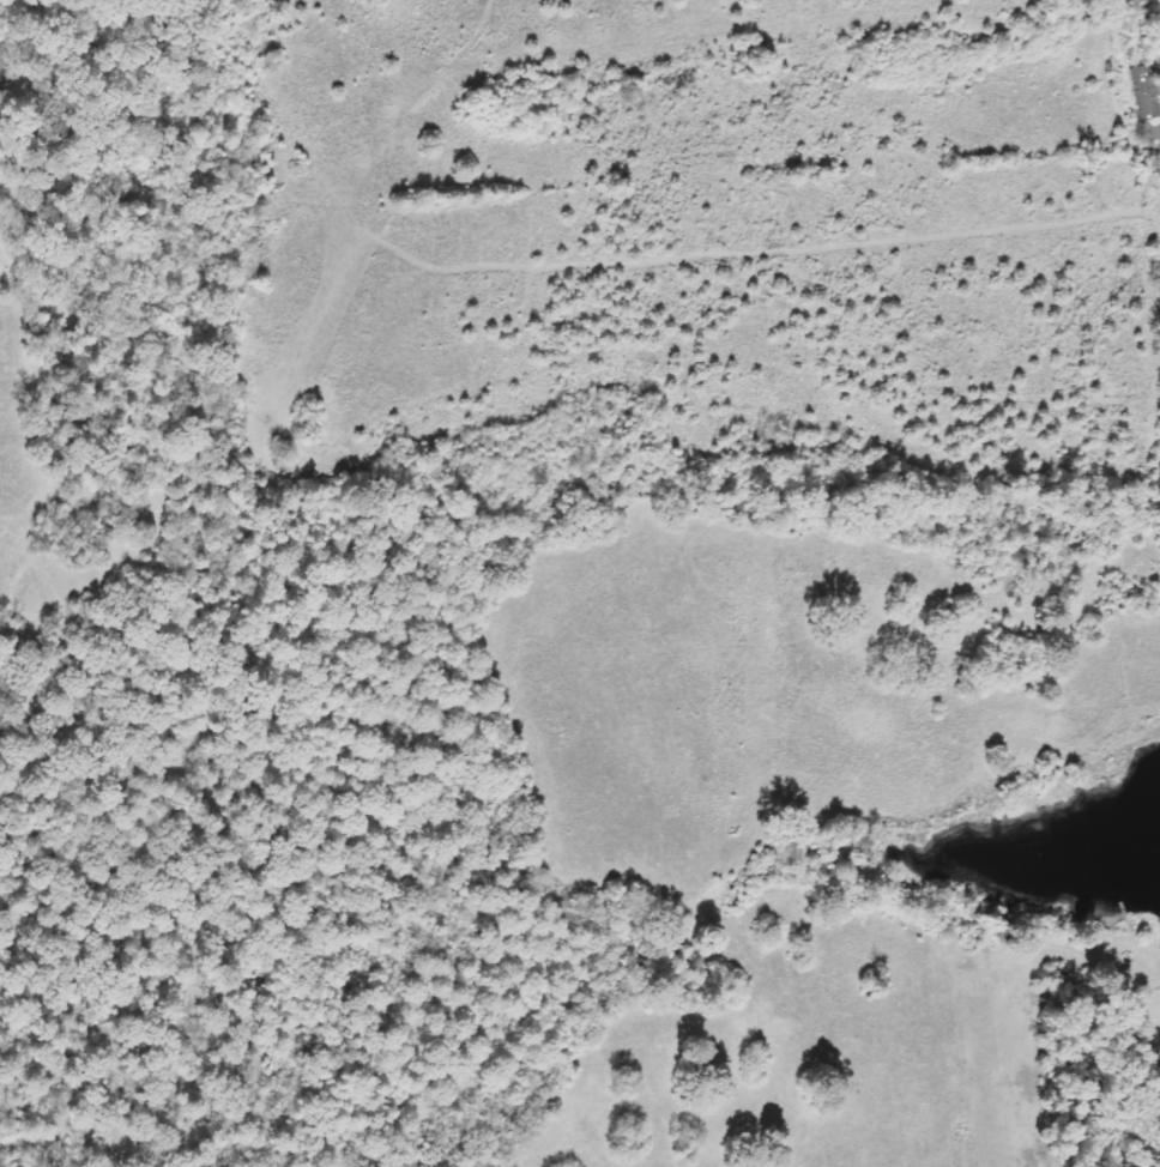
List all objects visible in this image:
building: (1144, 92)
building: (1154, 140)
building: (1156, 167)
road: (951, 406)
road: (971, 557)

